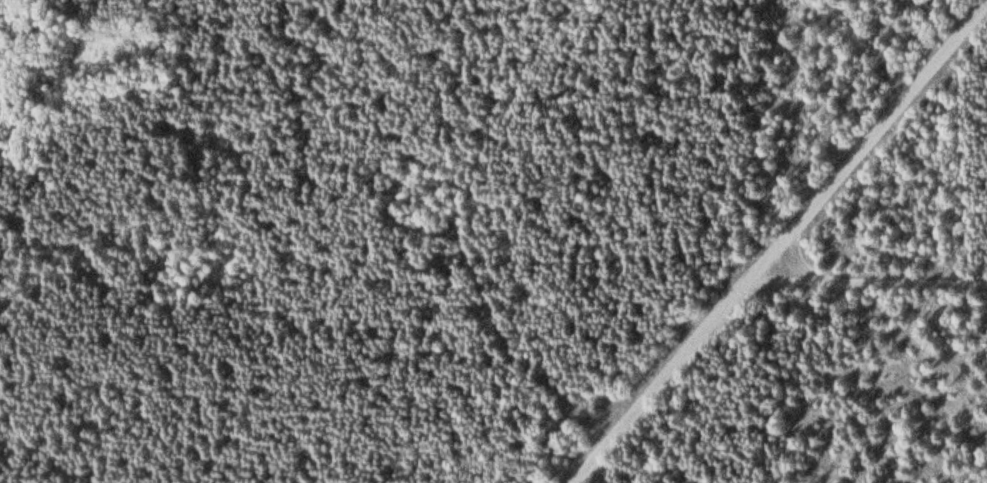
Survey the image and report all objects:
road: (784, 238)
road: (872, 275)

